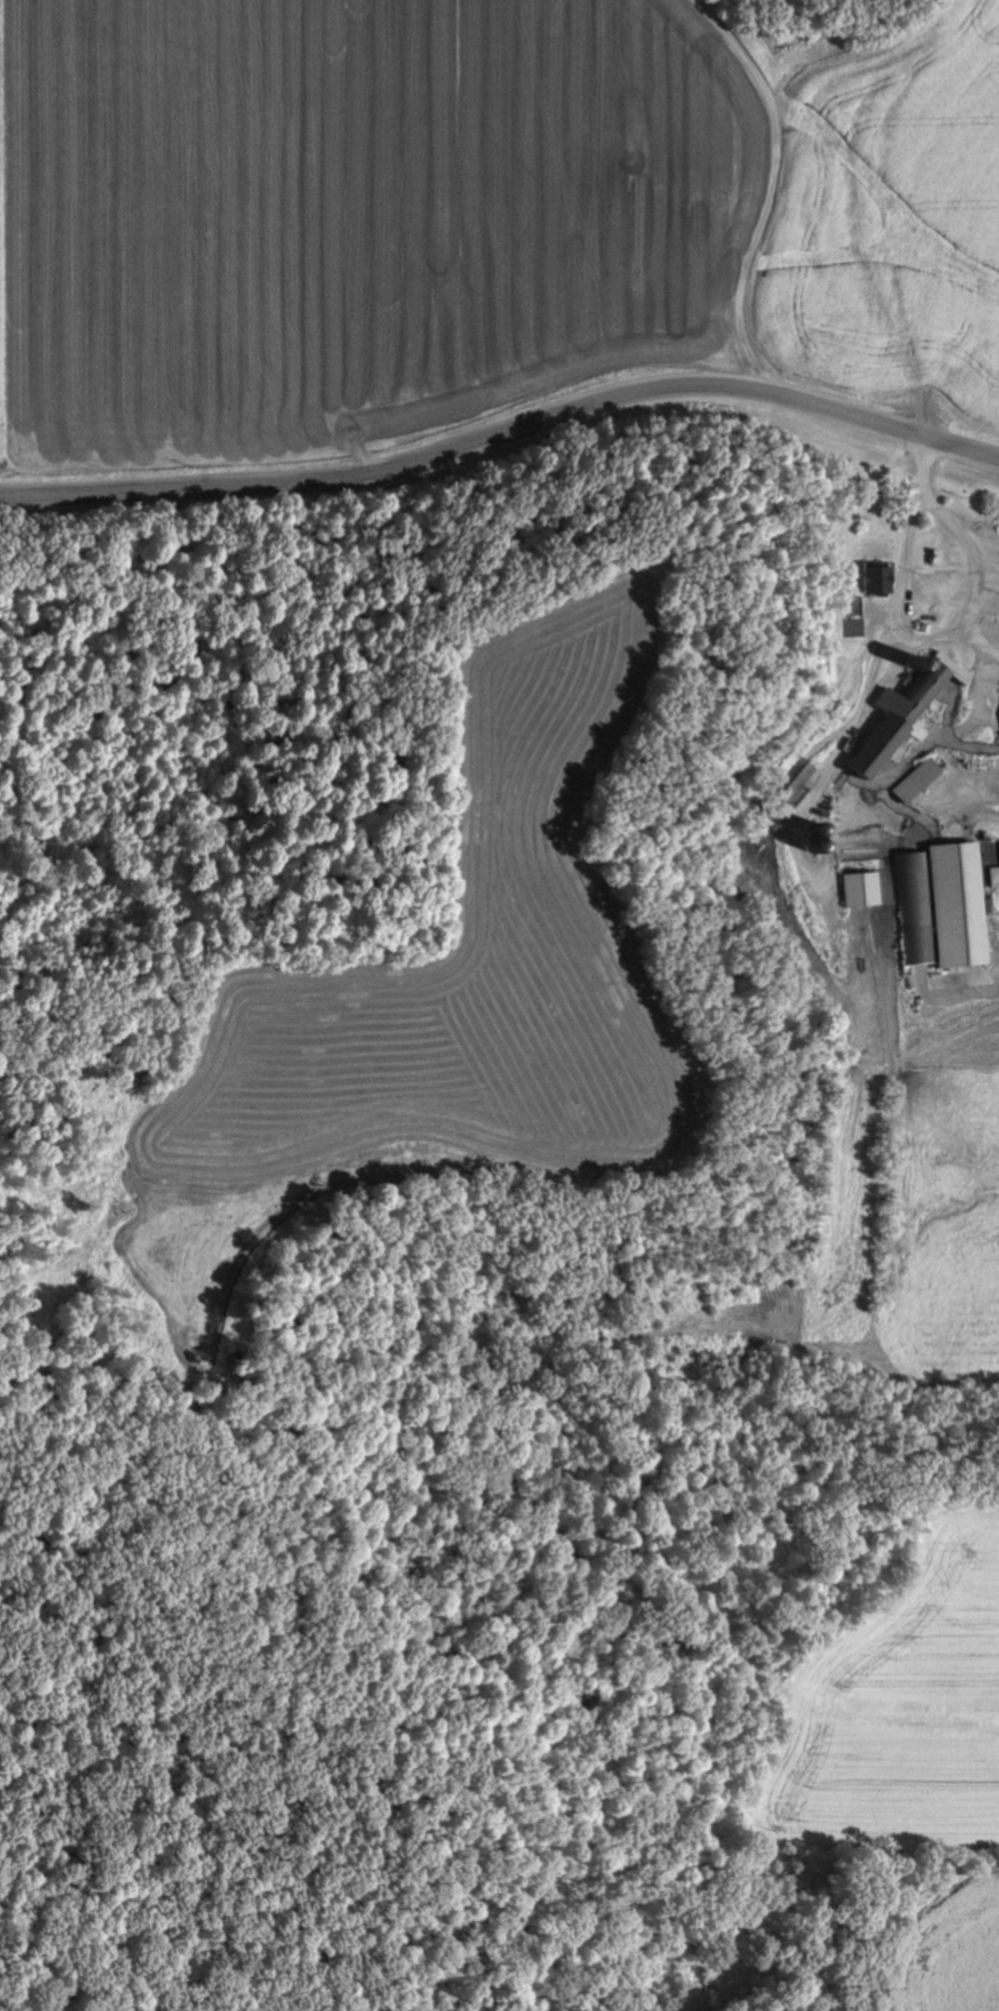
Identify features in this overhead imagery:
road: (778, 186)
road: (504, 436)
building: (879, 577)
road: (978, 583)
building: (852, 615)
road: (977, 641)
building: (825, 666)
road: (873, 677)
building: (899, 711)
road: (729, 777)
building: (912, 778)
building: (781, 791)
road: (976, 817)
building: (858, 889)
building: (954, 903)
building: (912, 906)
road: (977, 988)

